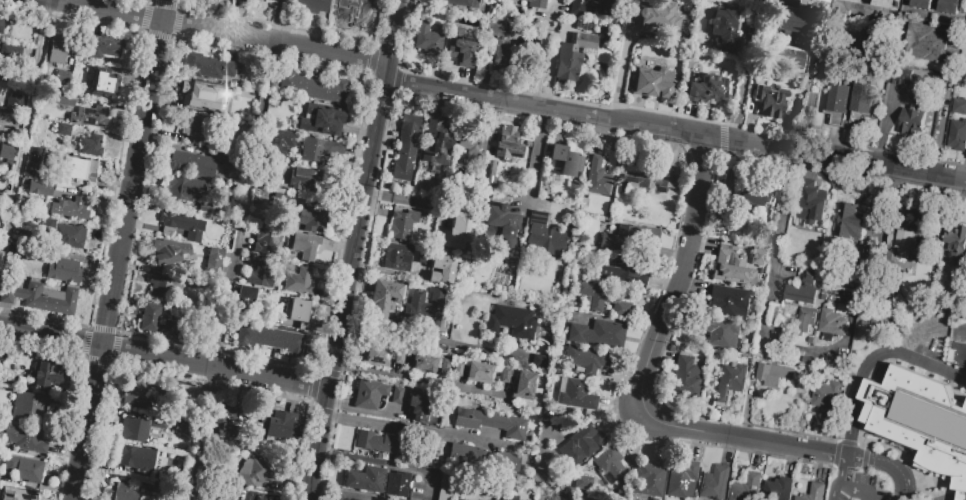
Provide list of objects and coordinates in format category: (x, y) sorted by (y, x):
building: (245, 0)
building: (273, 0)
building: (819, 1)
building: (854, 1)
building: (464, 3)
building: (537, 3)
building: (885, 3)
building: (311, 5)
building: (922, 5)
building: (576, 7)
building: (601, 7)
building: (950, 7)
building: (351, 8)
building: (649, 19)
building: (789, 21)
building: (1, 23)
building: (498, 25)
building: (724, 29)
road: (221, 33)
road: (393, 33)
building: (428, 38)
building: (583, 40)
building: (874, 43)
building: (927, 44)
building: (106, 46)
building: (463, 48)
building: (58, 49)
road: (545, 53)
building: (499, 54)
building: (788, 57)
building: (209, 64)
building: (564, 64)
road: (620, 64)
building: (80, 65)
building: (898, 76)
building: (62, 77)
building: (658, 78)
building: (103, 83)
building: (295, 84)
road: (744, 84)
building: (705, 88)
building: (330, 90)
building: (199, 93)
road: (812, 97)
building: (63, 98)
building: (863, 98)
building: (14, 100)
building: (770, 100)
building: (838, 104)
road: (946, 105)
building: (959, 107)
road: (545, 110)
building: (90, 116)
building: (323, 119)
building: (913, 122)
building: (63, 128)
building: (203, 128)
road: (674, 129)
building: (957, 136)
road: (27, 141)
building: (439, 141)
building: (279, 142)
building: (471, 142)
building: (509, 143)
building: (91, 146)
building: (406, 147)
building: (319, 148)
building: (6, 152)
building: (564, 160)
building: (232, 161)
building: (33, 162)
building: (192, 163)
building: (78, 168)
building: (491, 176)
building: (597, 176)
building: (649, 178)
building: (308, 181)
building: (39, 188)
building: (179, 189)
building: (750, 195)
building: (286, 200)
building: (206, 206)
building: (68, 207)
building: (811, 210)
building: (312, 218)
building: (447, 220)
building: (503, 220)
building: (850, 222)
building: (402, 224)
building: (181, 225)
building: (455, 230)
building: (545, 233)
building: (68, 236)
building: (627, 236)
building: (265, 239)
building: (907, 244)
building: (305, 245)
building: (957, 245)
building: (714, 247)
road: (119, 249)
road: (237, 249)
building: (19, 251)
building: (169, 251)
building: (791, 253)
building: (756, 256)
building: (396, 257)
building: (214, 259)
building: (861, 260)
building: (730, 267)
building: (755, 267)
building: (440, 268)
building: (64, 270)
building: (261, 271)
road: (393, 272)
building: (630, 272)
building: (298, 280)
road: (348, 283)
building: (164, 286)
building: (387, 290)
building: (803, 290)
building: (826, 291)
building: (42, 297)
building: (248, 297)
building: (825, 298)
building: (603, 299)
building: (727, 300)
building: (426, 306)
building: (380, 309)
building: (298, 313)
building: (806, 319)
building: (156, 320)
building: (512, 321)
road: (767, 322)
building: (831, 323)
building: (719, 331)
building: (598, 332)
building: (253, 335)
building: (287, 341)
road: (427, 341)
building: (759, 349)
building: (374, 355)
building: (399, 355)
road: (164, 357)
building: (587, 357)
building: (541, 361)
building: (835, 361)
road: (869, 362)
building: (423, 363)
building: (810, 363)
building: (445, 366)
building: (458, 368)
road: (646, 371)
building: (478, 372)
building: (504, 374)
building: (44, 375)
building: (773, 375)
building: (686, 376)
road: (420, 381)
building: (730, 381)
building: (523, 385)
building: (368, 392)
building: (135, 394)
building: (577, 394)
building: (397, 395)
building: (829, 399)
building: (27, 405)
building: (419, 405)
building: (226, 415)
building: (490, 421)
building: (921, 421)
building: (275, 423)
building: (140, 427)
building: (185, 427)
road: (411, 428)
building: (24, 438)
building: (377, 441)
building: (582, 447)
building: (135, 457)
building: (484, 457)
road: (842, 460)
road: (372, 461)
building: (609, 462)
road: (885, 467)
building: (23, 468)
building: (259, 472)
road: (844, 473)
building: (365, 479)
building: (649, 479)
building: (681, 480)
building: (583, 481)
building: (397, 484)
building: (440, 484)
building: (713, 484)
building: (747, 488)
building: (778, 489)
road: (832, 490)
road: (855, 490)
building: (121, 491)
building: (813, 493)
building: (16, 494)
parking lot: (227, 494)
building: (349, 496)
building: (508, 497)
building: (459, 499)

